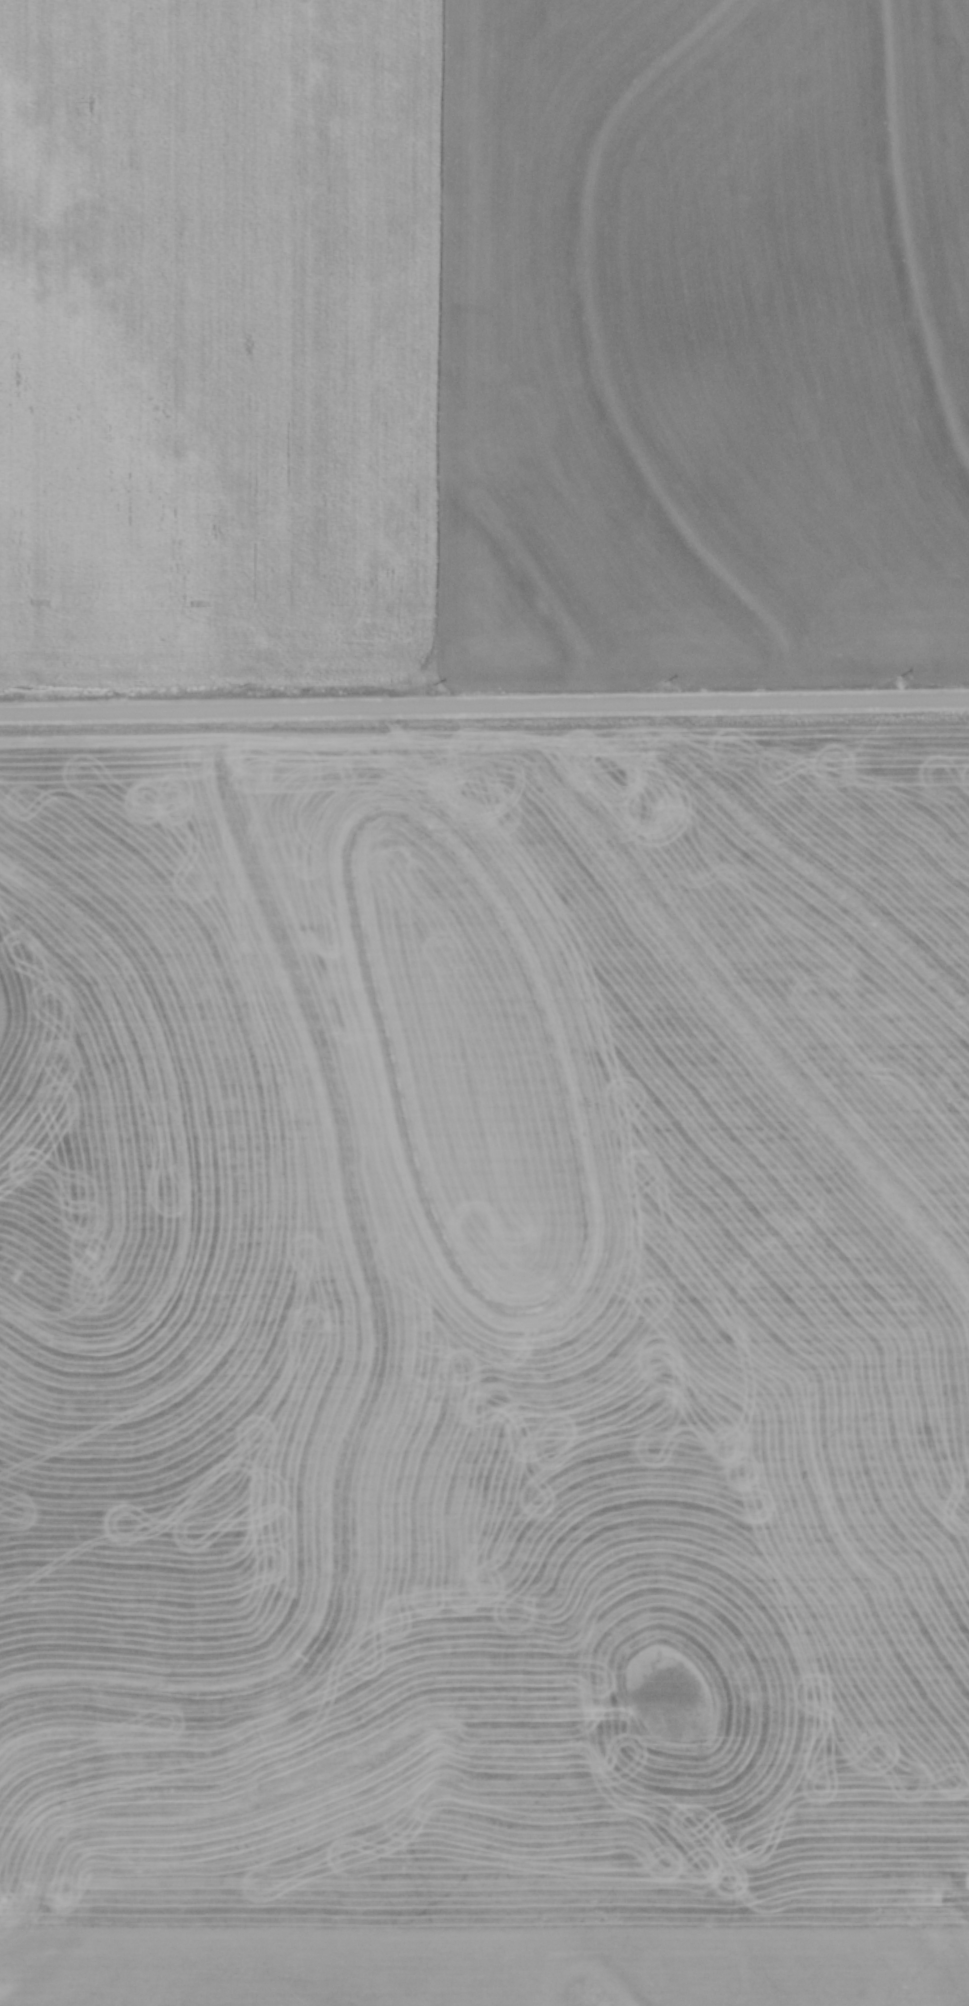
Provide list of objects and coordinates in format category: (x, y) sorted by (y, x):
crop: (219, 339)
road: (484, 706)

